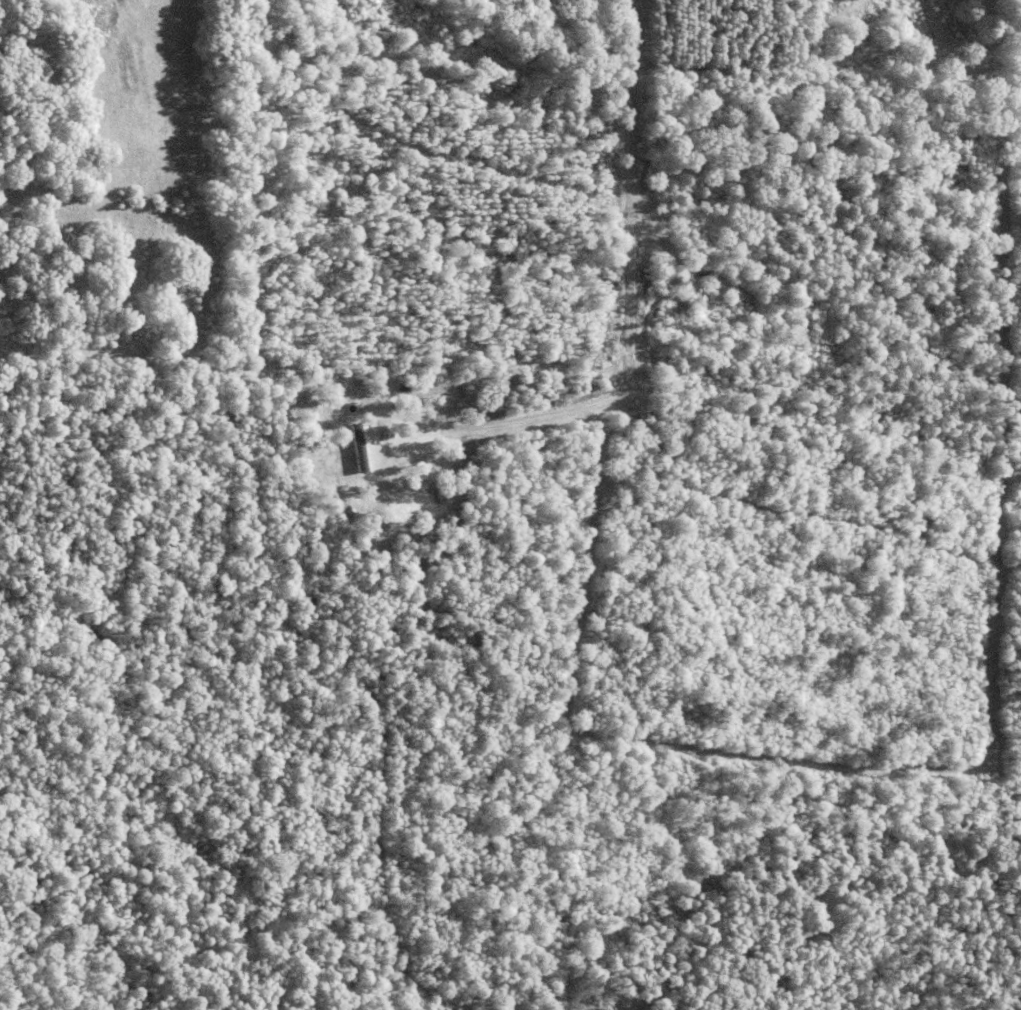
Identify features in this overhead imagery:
building: (359, 446)

